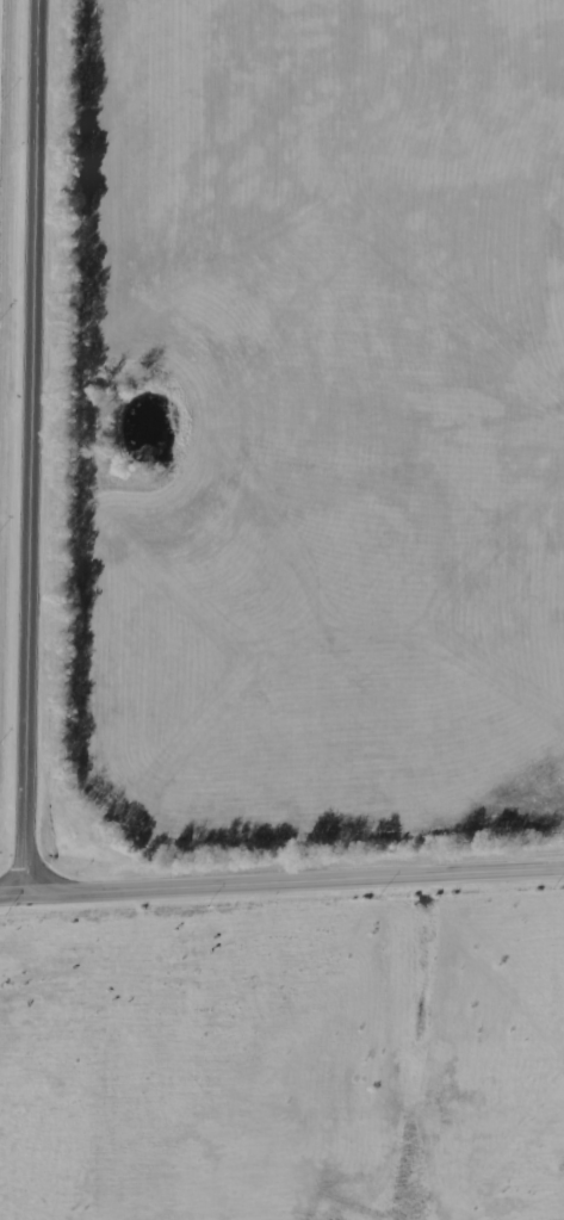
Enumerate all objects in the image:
road: (31, 448)
road: (281, 884)

